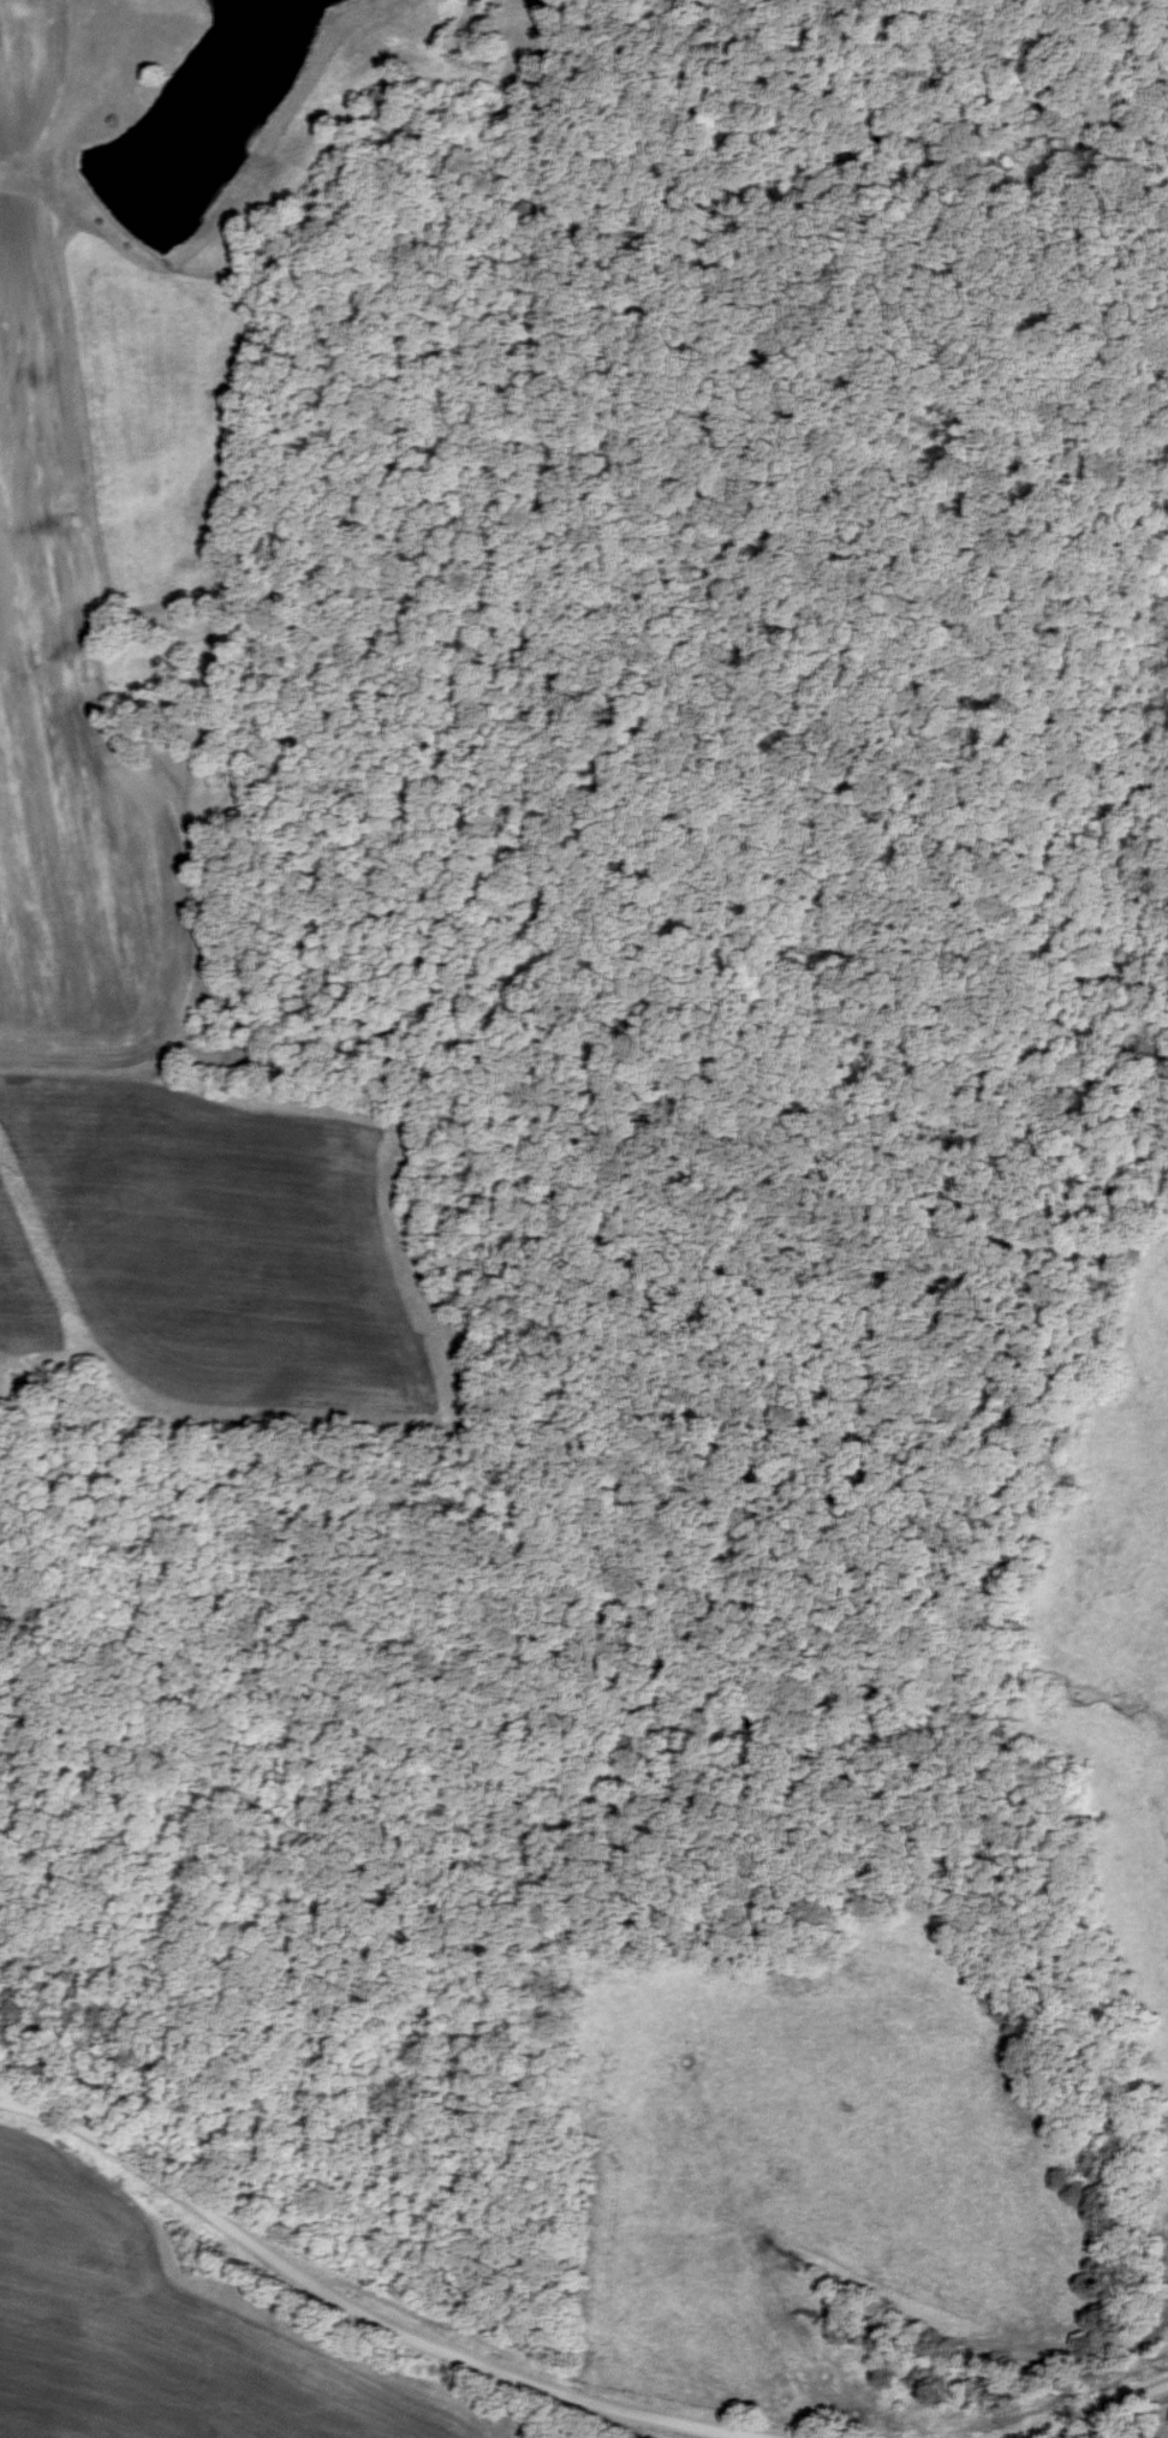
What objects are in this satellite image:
road: (348, 2308)
road: (1106, 2416)

